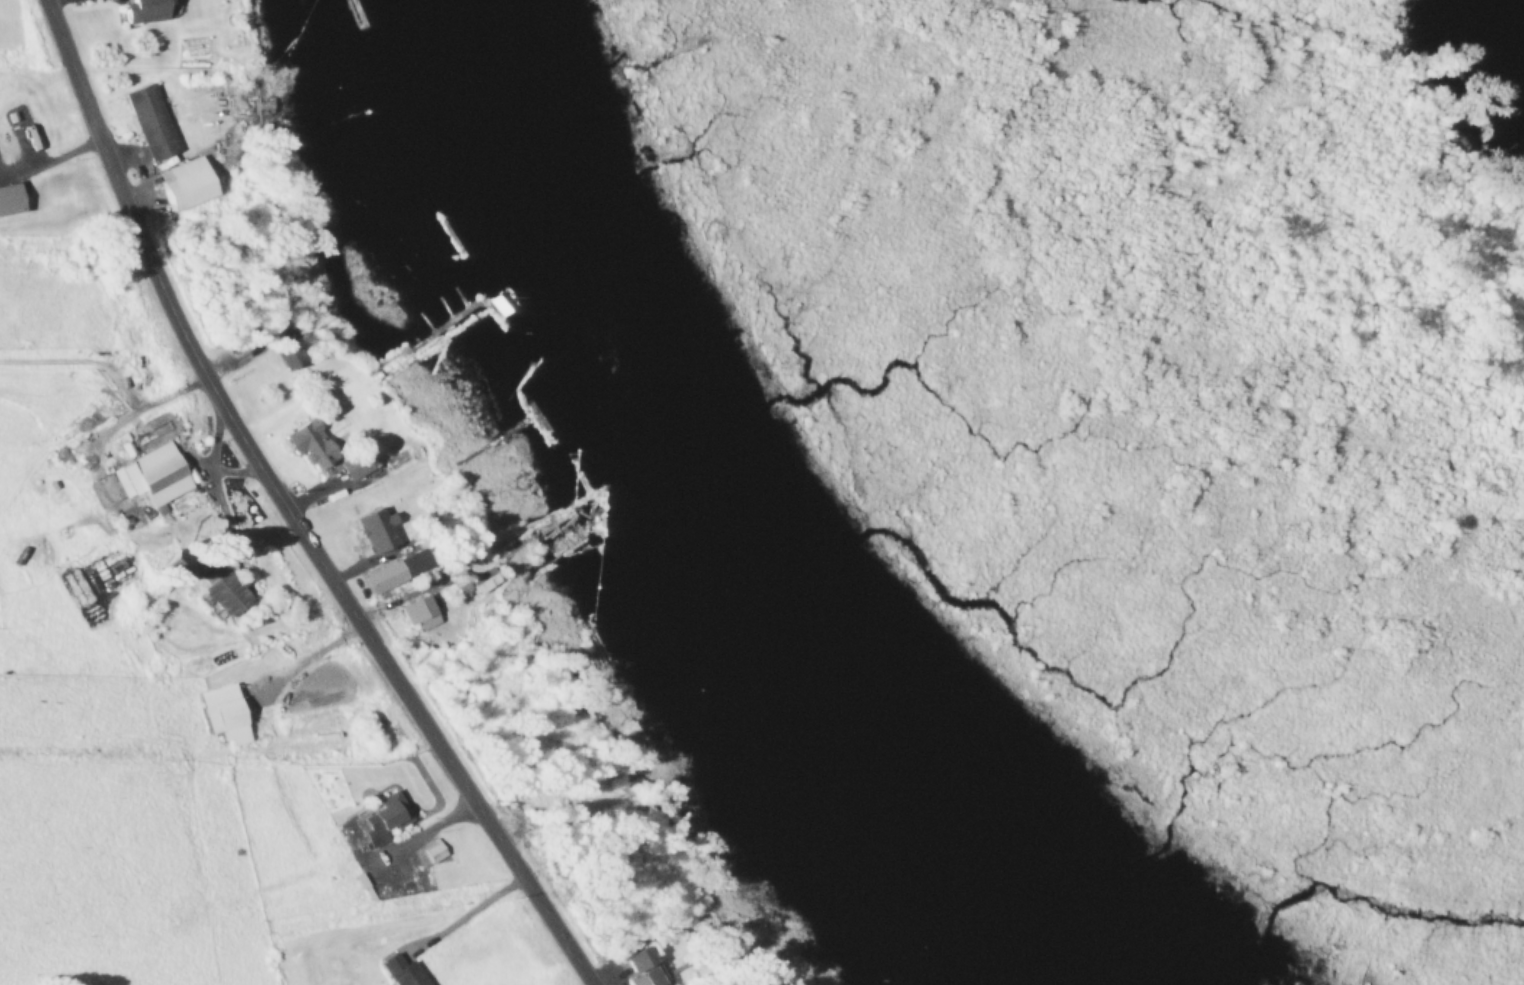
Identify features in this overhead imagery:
building: (143, 11)
crop: (29, 37)
building: (150, 122)
building: (18, 136)
building: (185, 184)
building: (8, 200)
building: (284, 346)
building: (309, 445)
building: (356, 465)
building: (151, 476)
river: (714, 508)
road: (284, 510)
building: (564, 533)
building: (382, 578)
building: (206, 582)
building: (221, 715)
building: (382, 819)
building: (642, 968)
building: (400, 972)

